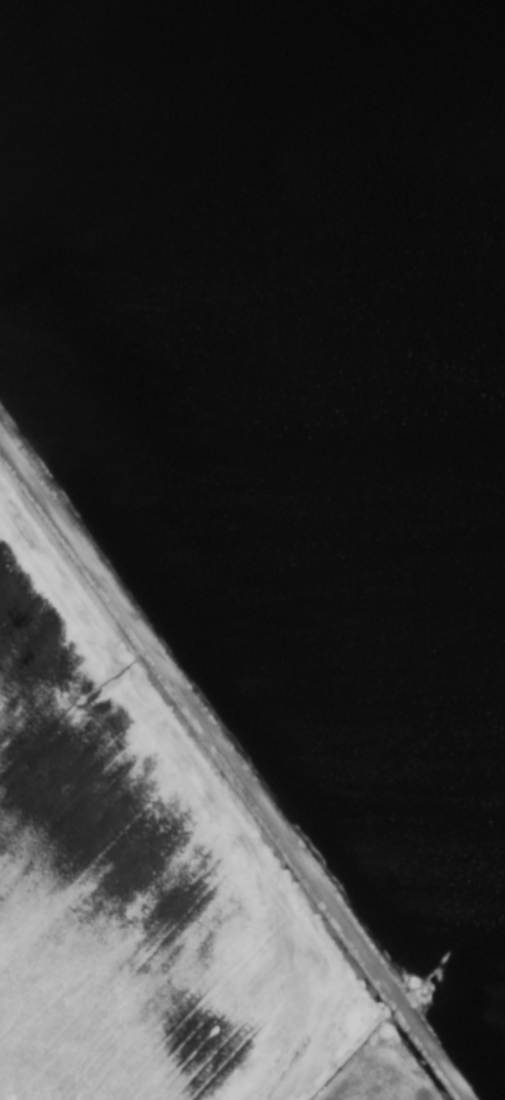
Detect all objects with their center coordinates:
crop: (252, 549)

